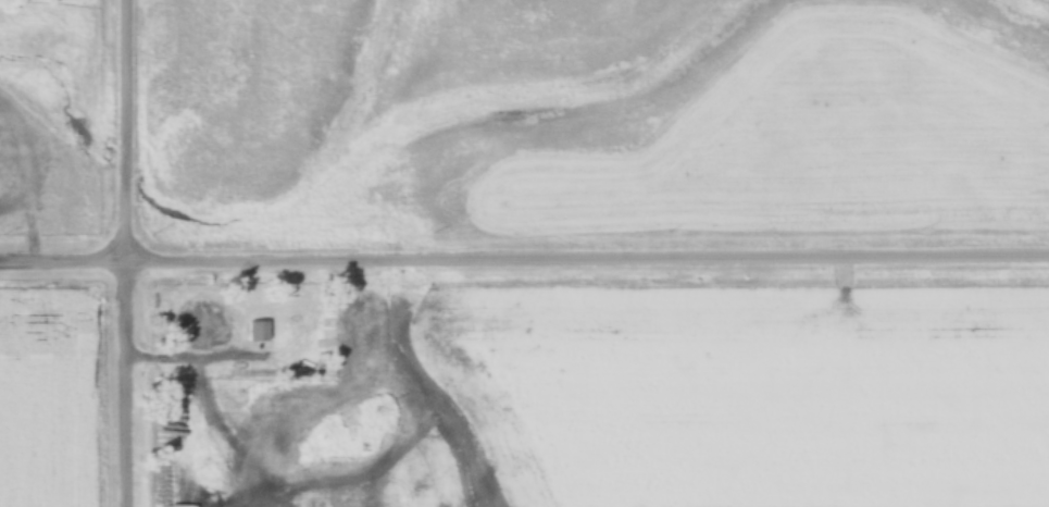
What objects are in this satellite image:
road: (524, 243)
road: (123, 253)
building: (255, 331)
building: (184, 462)
building: (185, 486)

